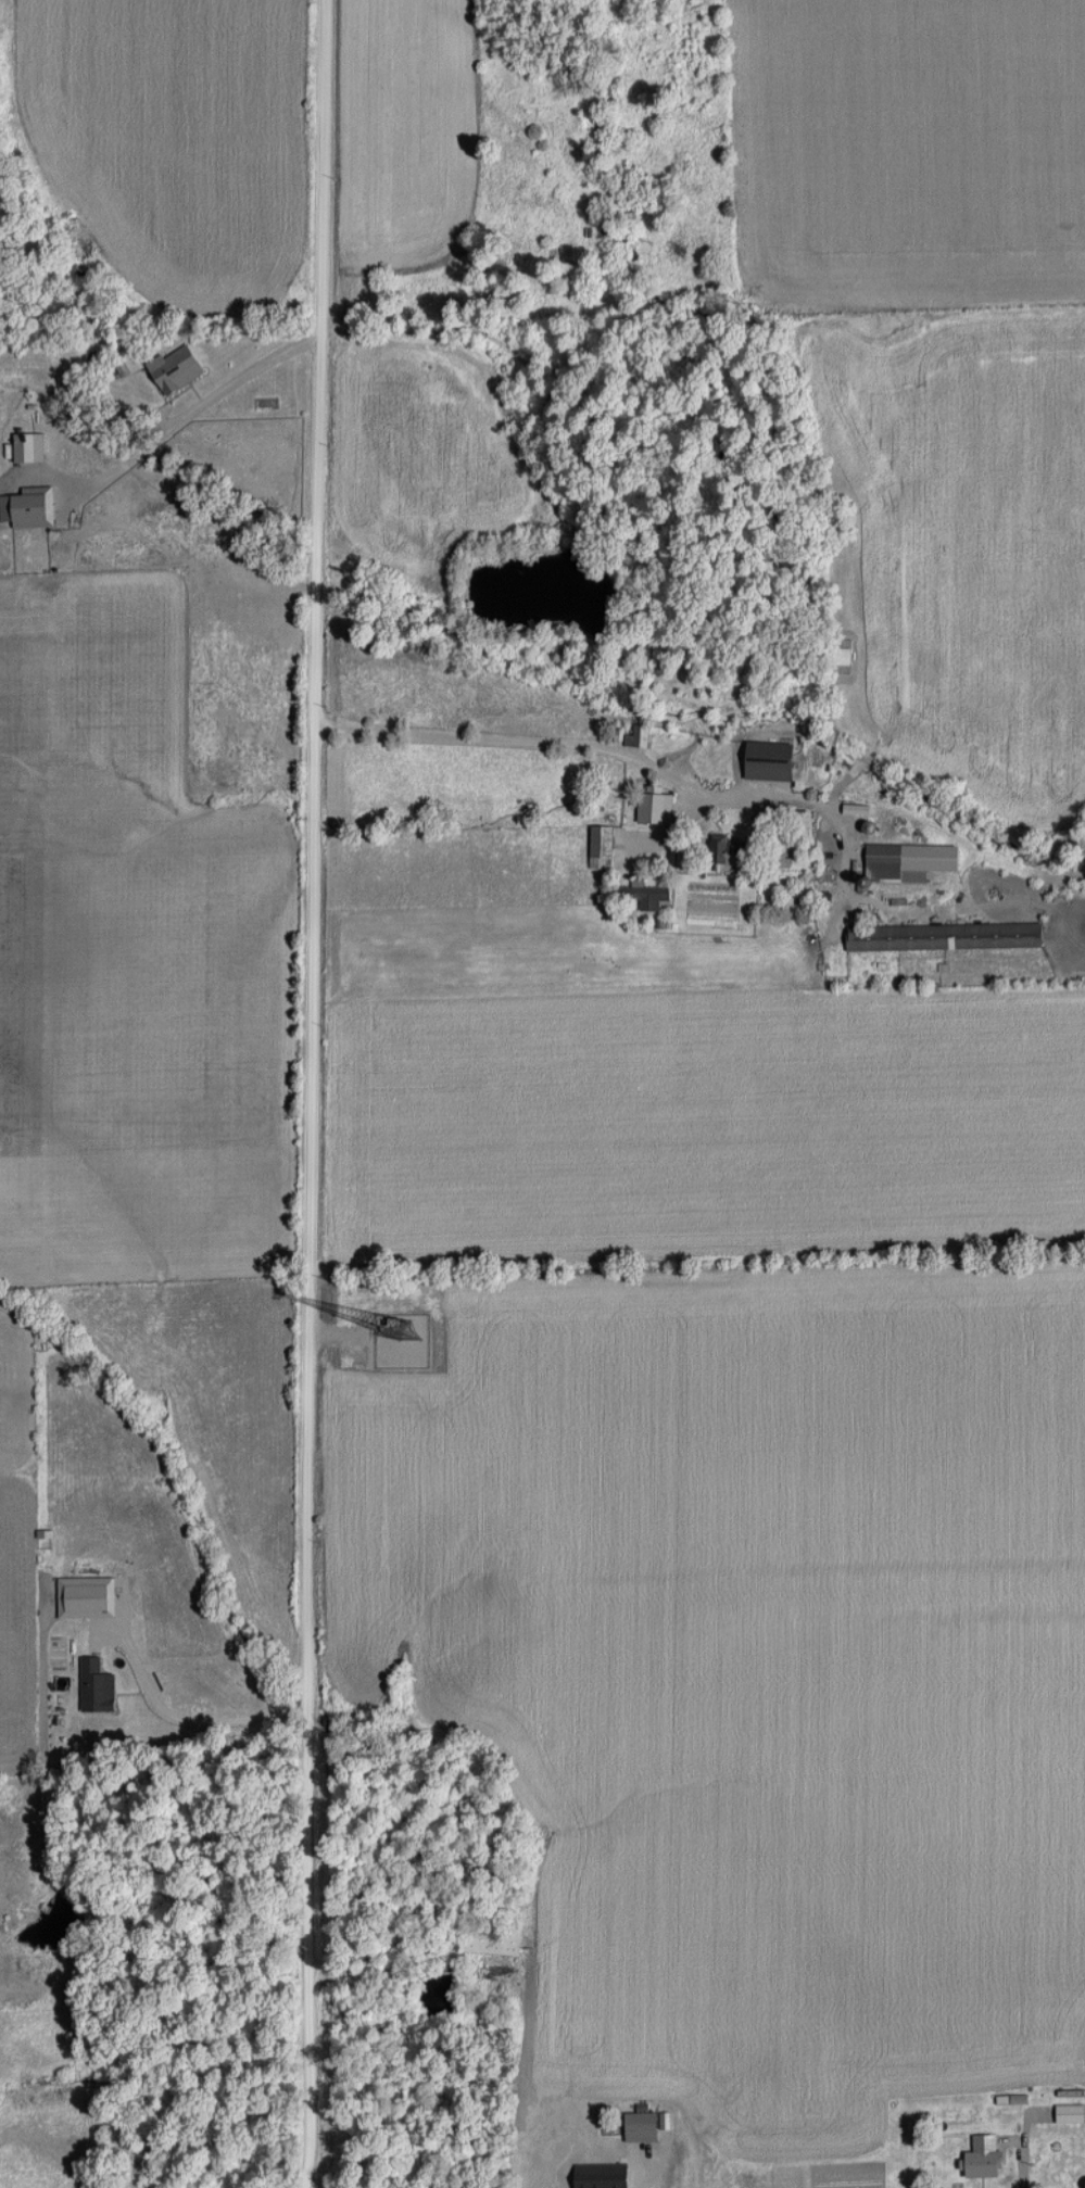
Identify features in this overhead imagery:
road: (234, 385)
building: (640, 735)
road: (531, 749)
building: (775, 761)
building: (657, 808)
building: (604, 847)
building: (886, 861)
building: (646, 896)
building: (938, 935)
road: (308, 1093)
building: (493, 1940)
building: (973, 2158)
building: (614, 2166)
road: (960, 2176)

